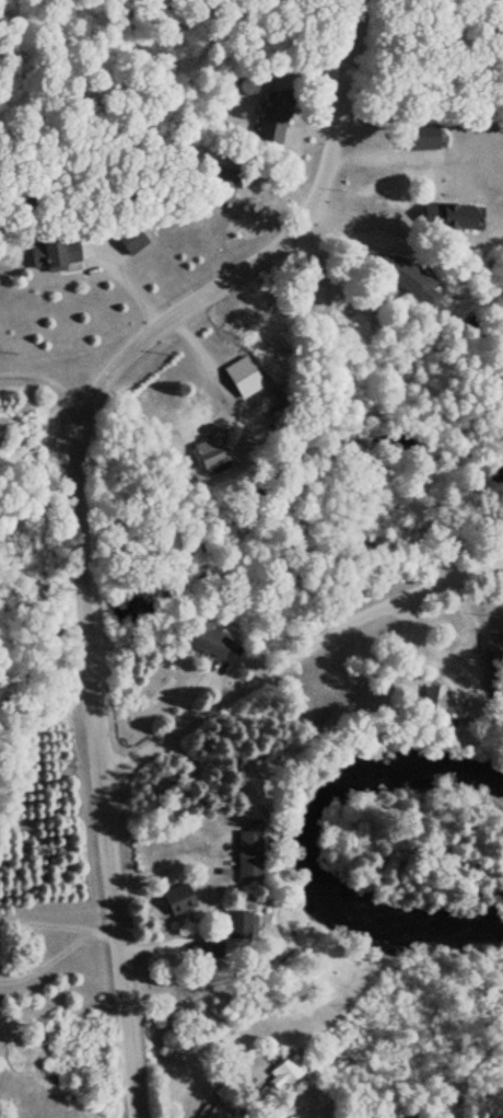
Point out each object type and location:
building: (270, 116)
building: (419, 138)
building: (445, 216)
building: (127, 237)
building: (52, 253)
building: (417, 291)
road: (40, 356)
building: (232, 379)
building: (206, 448)
road: (68, 505)
road: (292, 614)
building: (212, 645)
building: (492, 664)
building: (436, 700)
river: (309, 842)
building: (246, 848)
building: (176, 898)
building: (225, 932)
building: (283, 1071)
building: (210, 1110)
building: (417, 1115)

